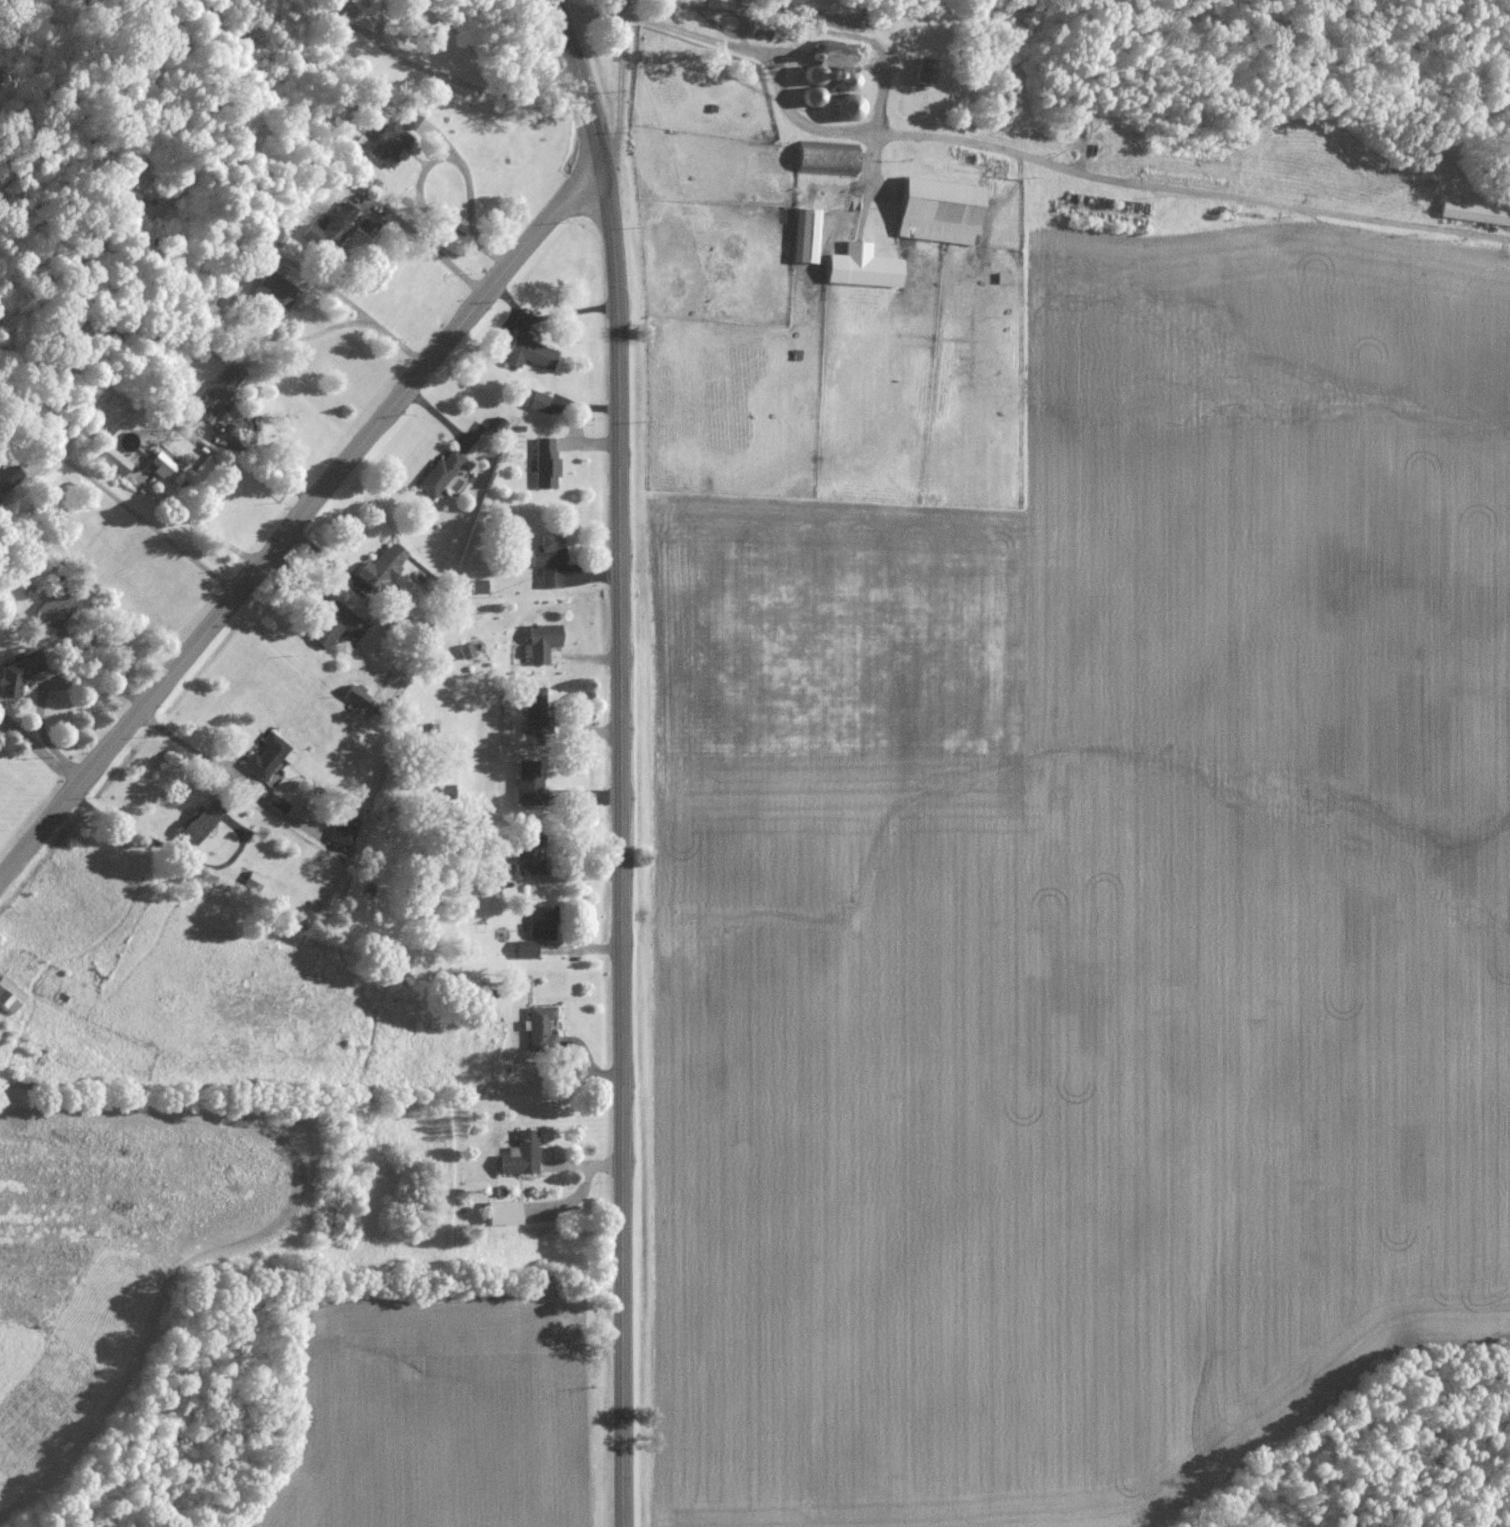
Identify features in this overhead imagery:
road: (379, 18)
road: (357, 21)
building: (337, 27)
building: (758, 30)
building: (925, 71)
road: (619, 79)
building: (833, 82)
road: (472, 86)
building: (383, 146)
road: (475, 153)
building: (826, 159)
road: (1042, 162)
building: (154, 197)
building: (938, 211)
building: (1475, 213)
road: (428, 217)
building: (335, 226)
building: (806, 236)
building: (862, 267)
building: (273, 293)
road: (259, 295)
road: (379, 329)
building: (527, 352)
building: (218, 393)
building: (534, 400)
building: (113, 461)
building: (545, 463)
building: (439, 473)
building: (6, 480)
road: (175, 514)
road: (299, 515)
road: (141, 518)
building: (548, 559)
building: (382, 568)
building: (477, 587)
building: (55, 608)
building: (334, 626)
building: (540, 643)
building: (465, 651)
building: (17, 675)
building: (354, 696)
building: (533, 710)
road: (39, 749)
road: (203, 754)
building: (264, 757)
road: (618, 759)
building: (528, 784)
building: (276, 805)
building: (197, 824)
building: (342, 830)
road: (169, 849)
building: (526, 855)
road: (566, 877)
building: (535, 932)
building: (10, 996)
building: (539, 1027)
building: (519, 1154)
building: (500, 1213)

